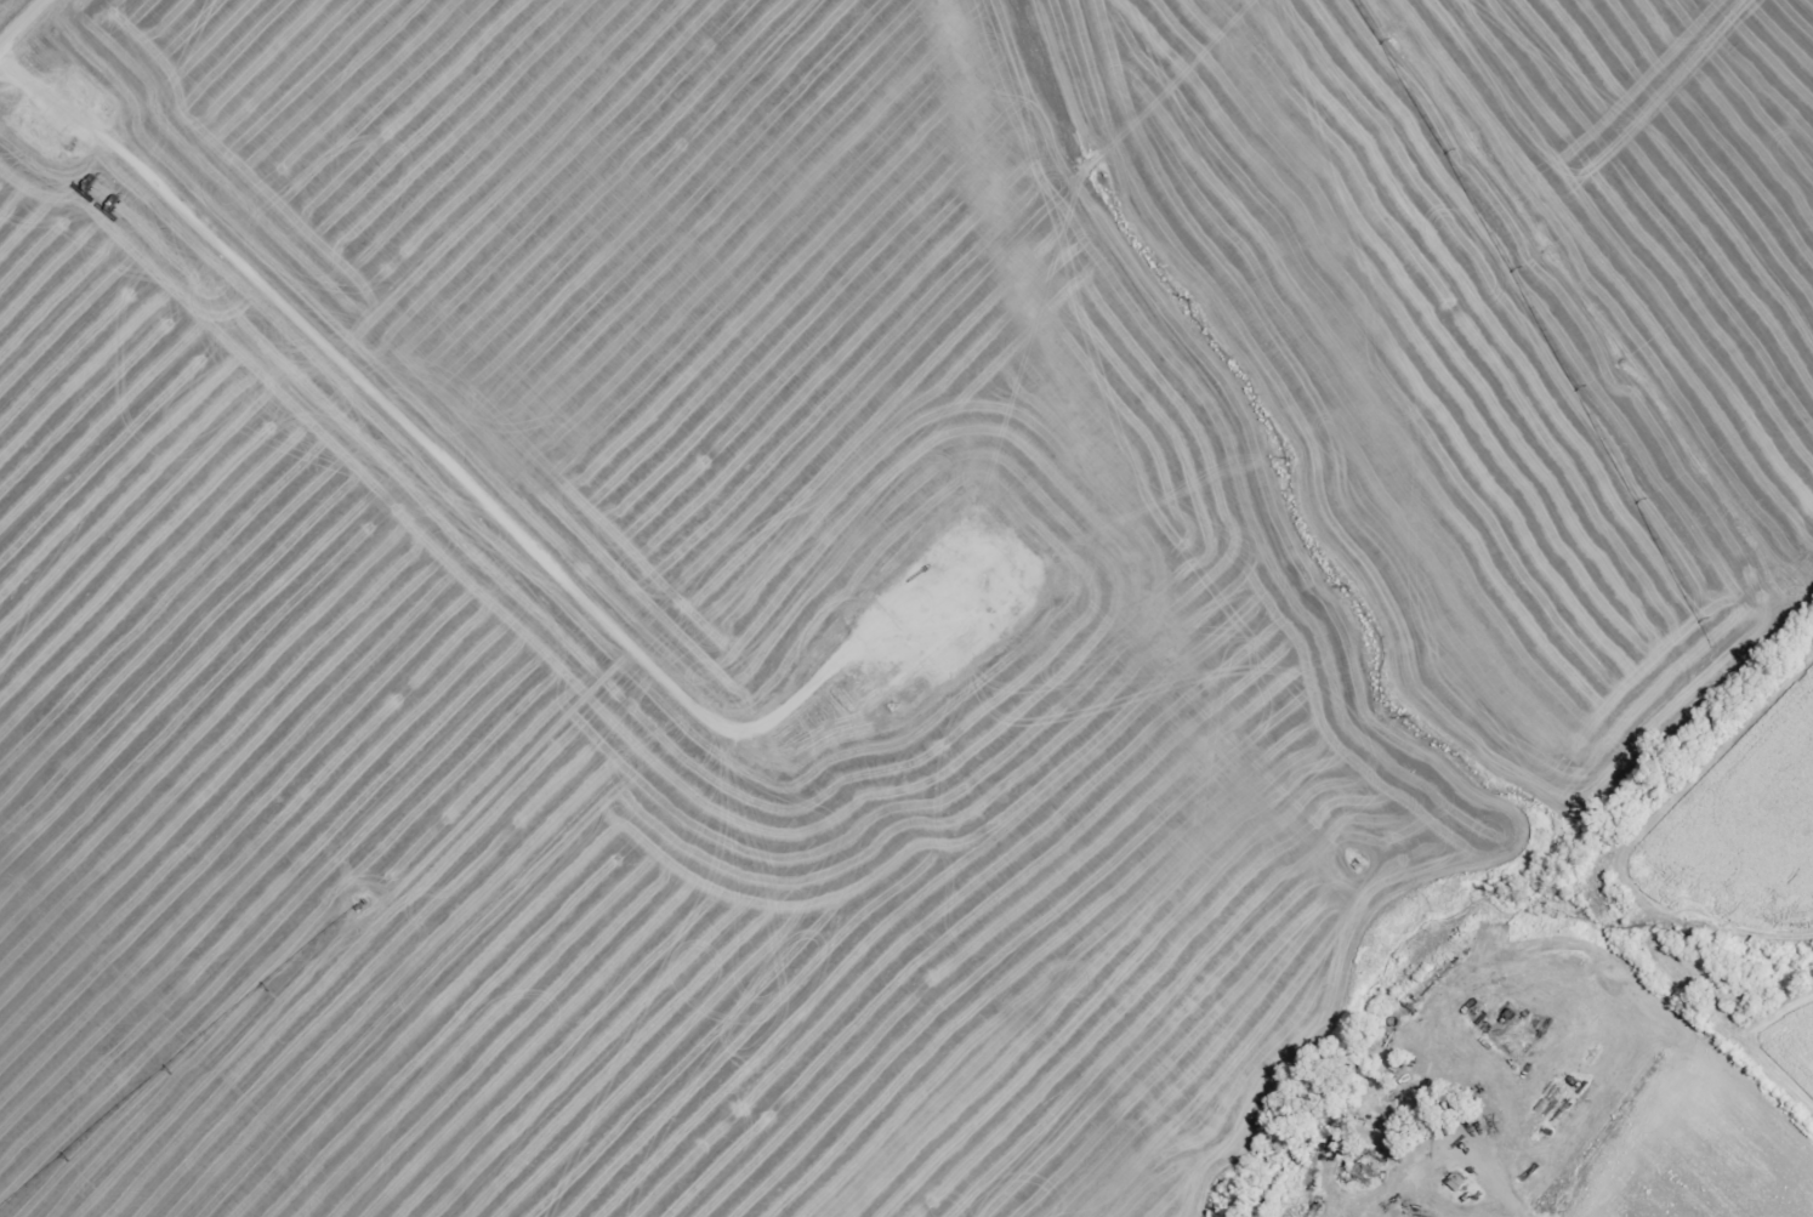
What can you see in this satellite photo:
road: (38, 38)

